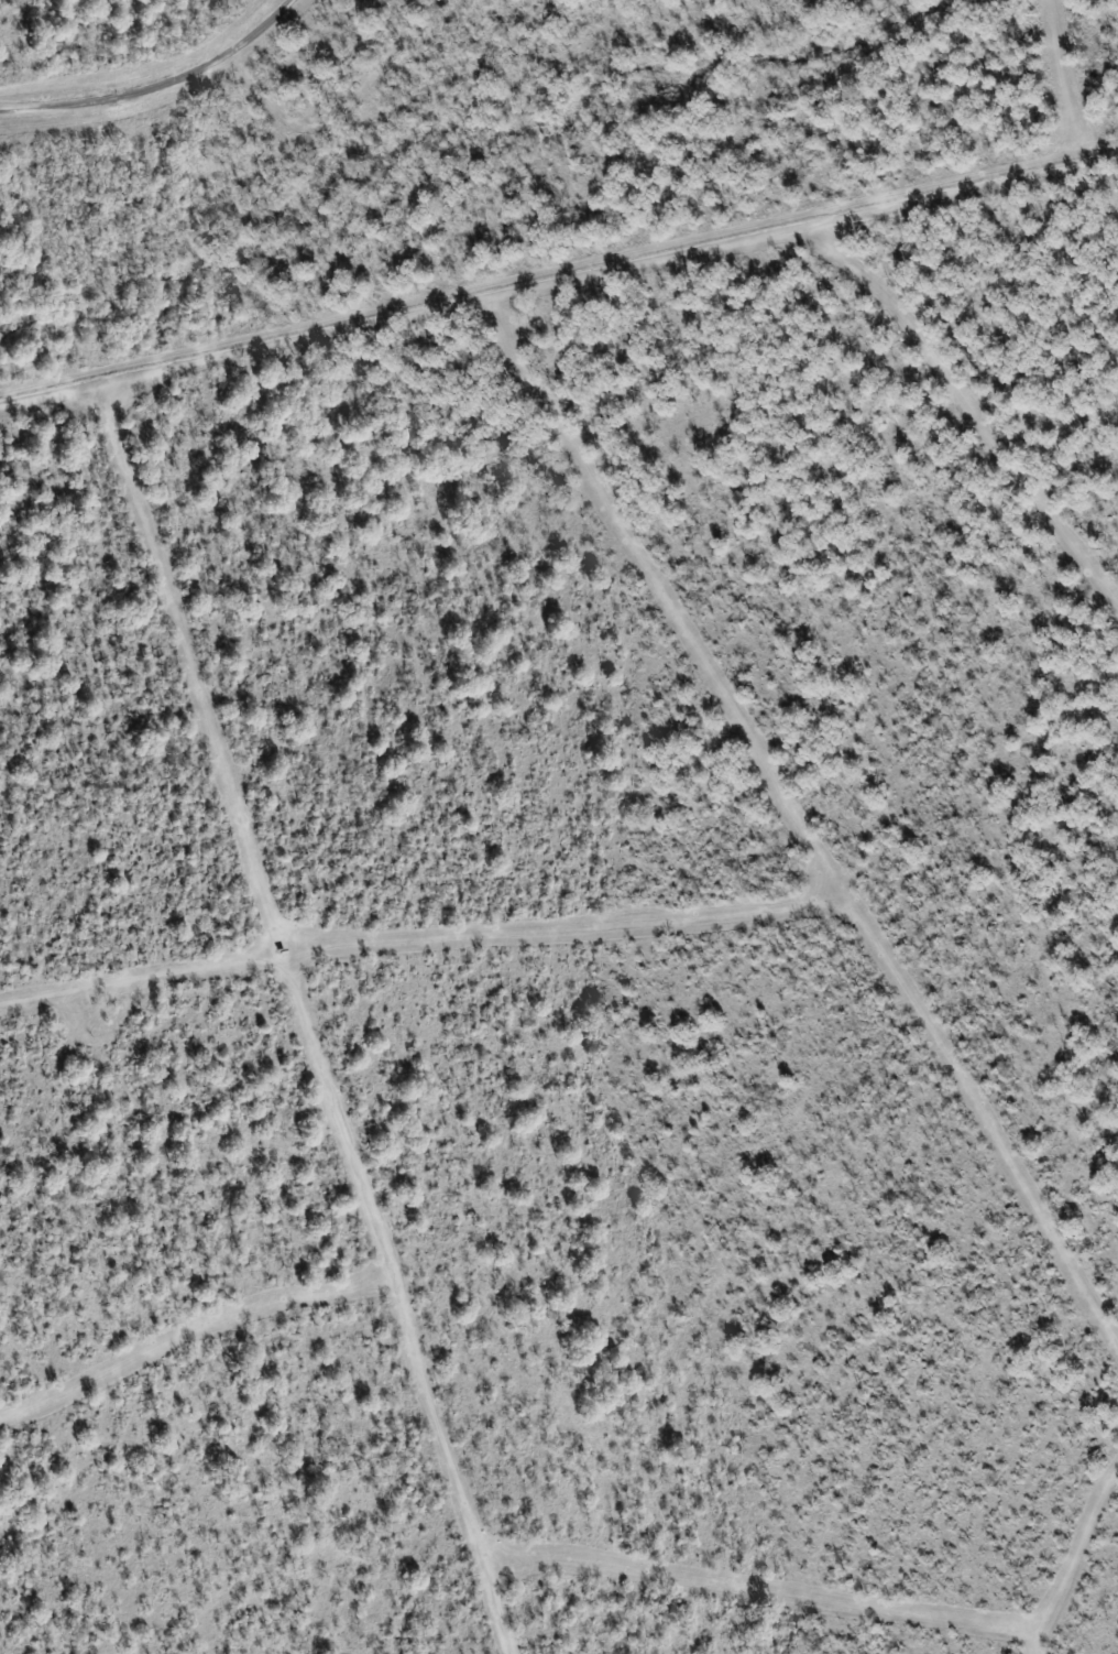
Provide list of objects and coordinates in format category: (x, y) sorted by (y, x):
road: (156, 83)

